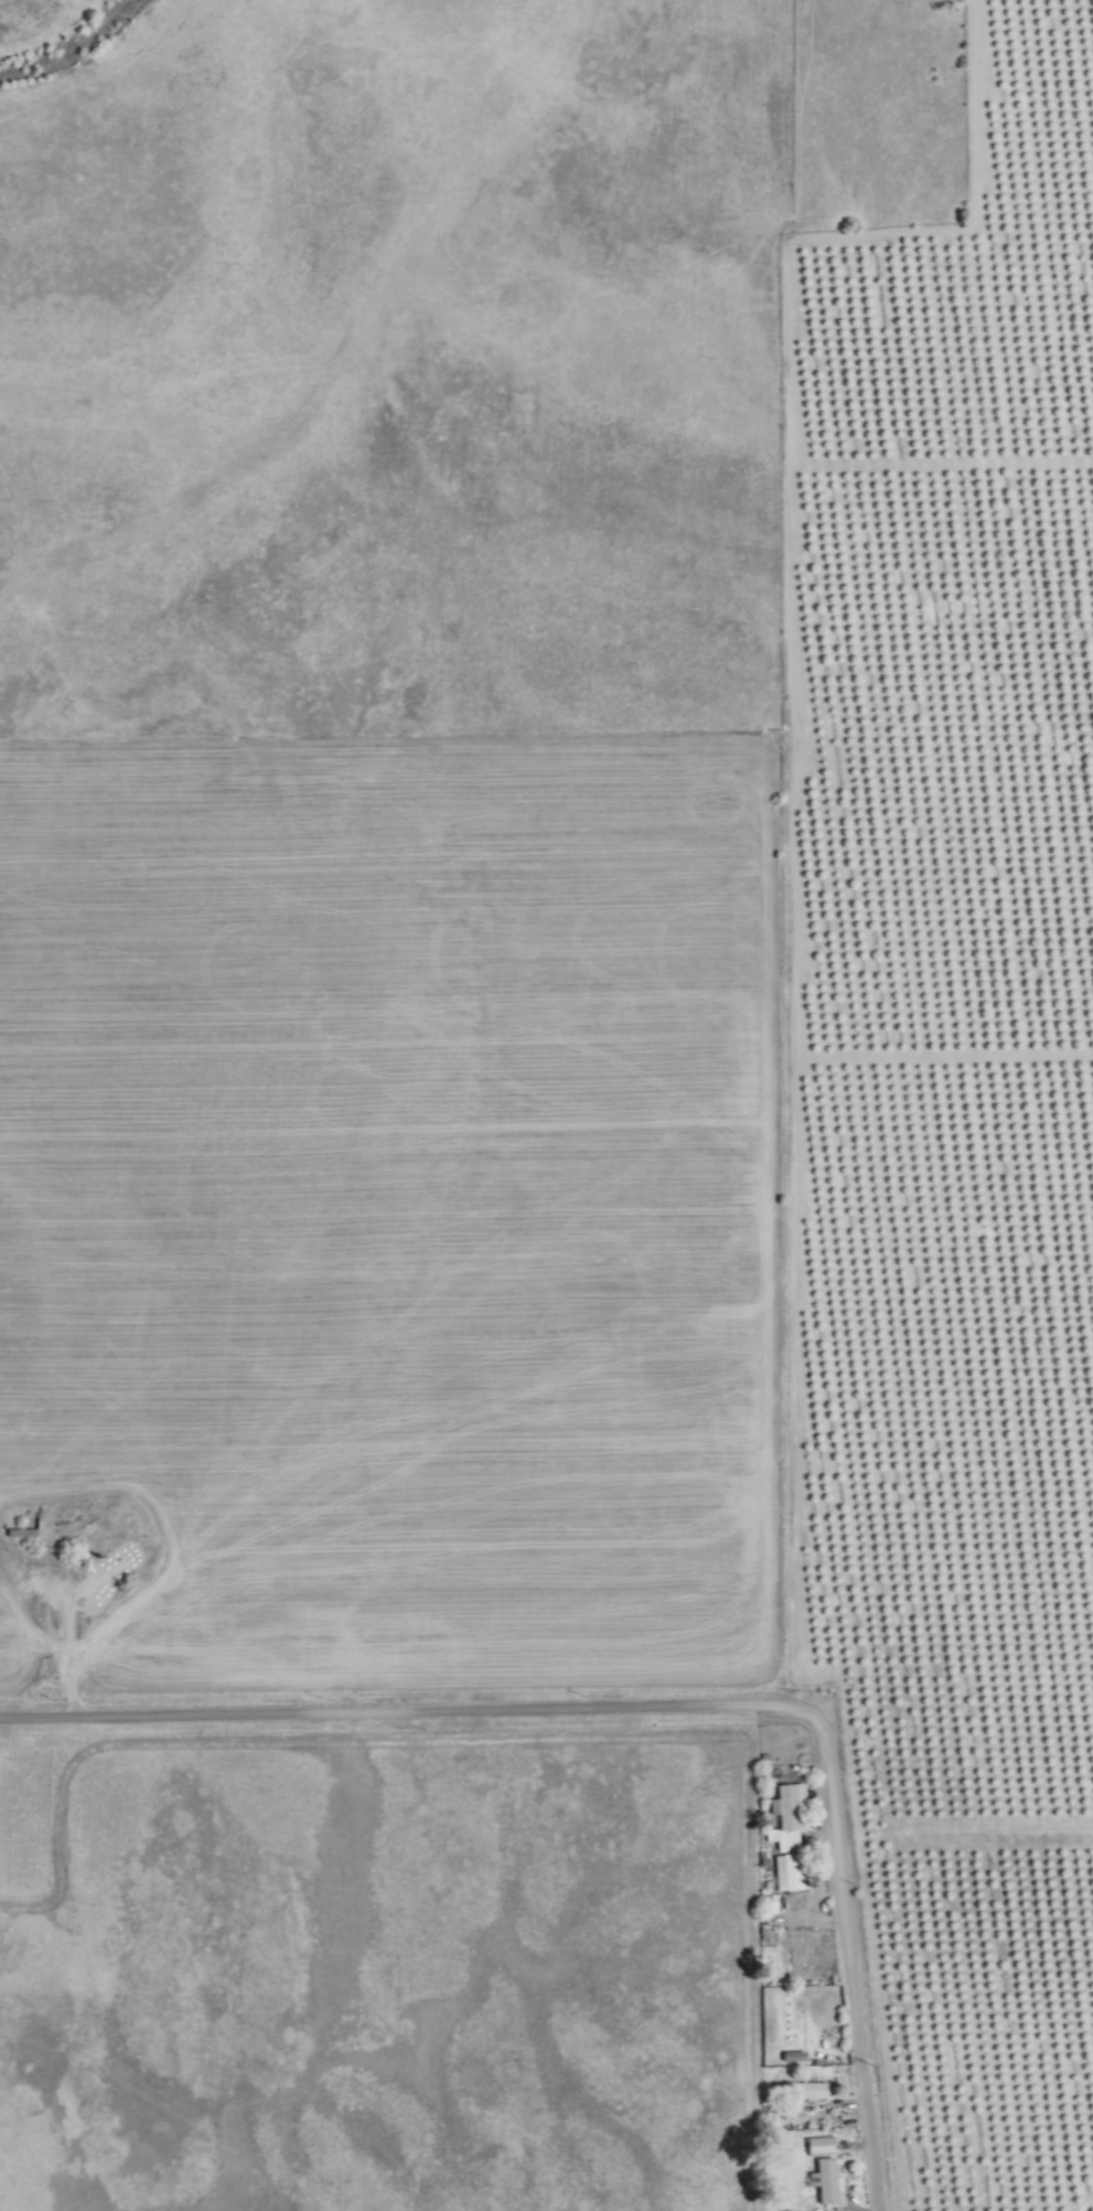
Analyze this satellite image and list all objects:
road: (657, 1707)
building: (811, 2091)
building: (819, 2147)
building: (827, 2182)

